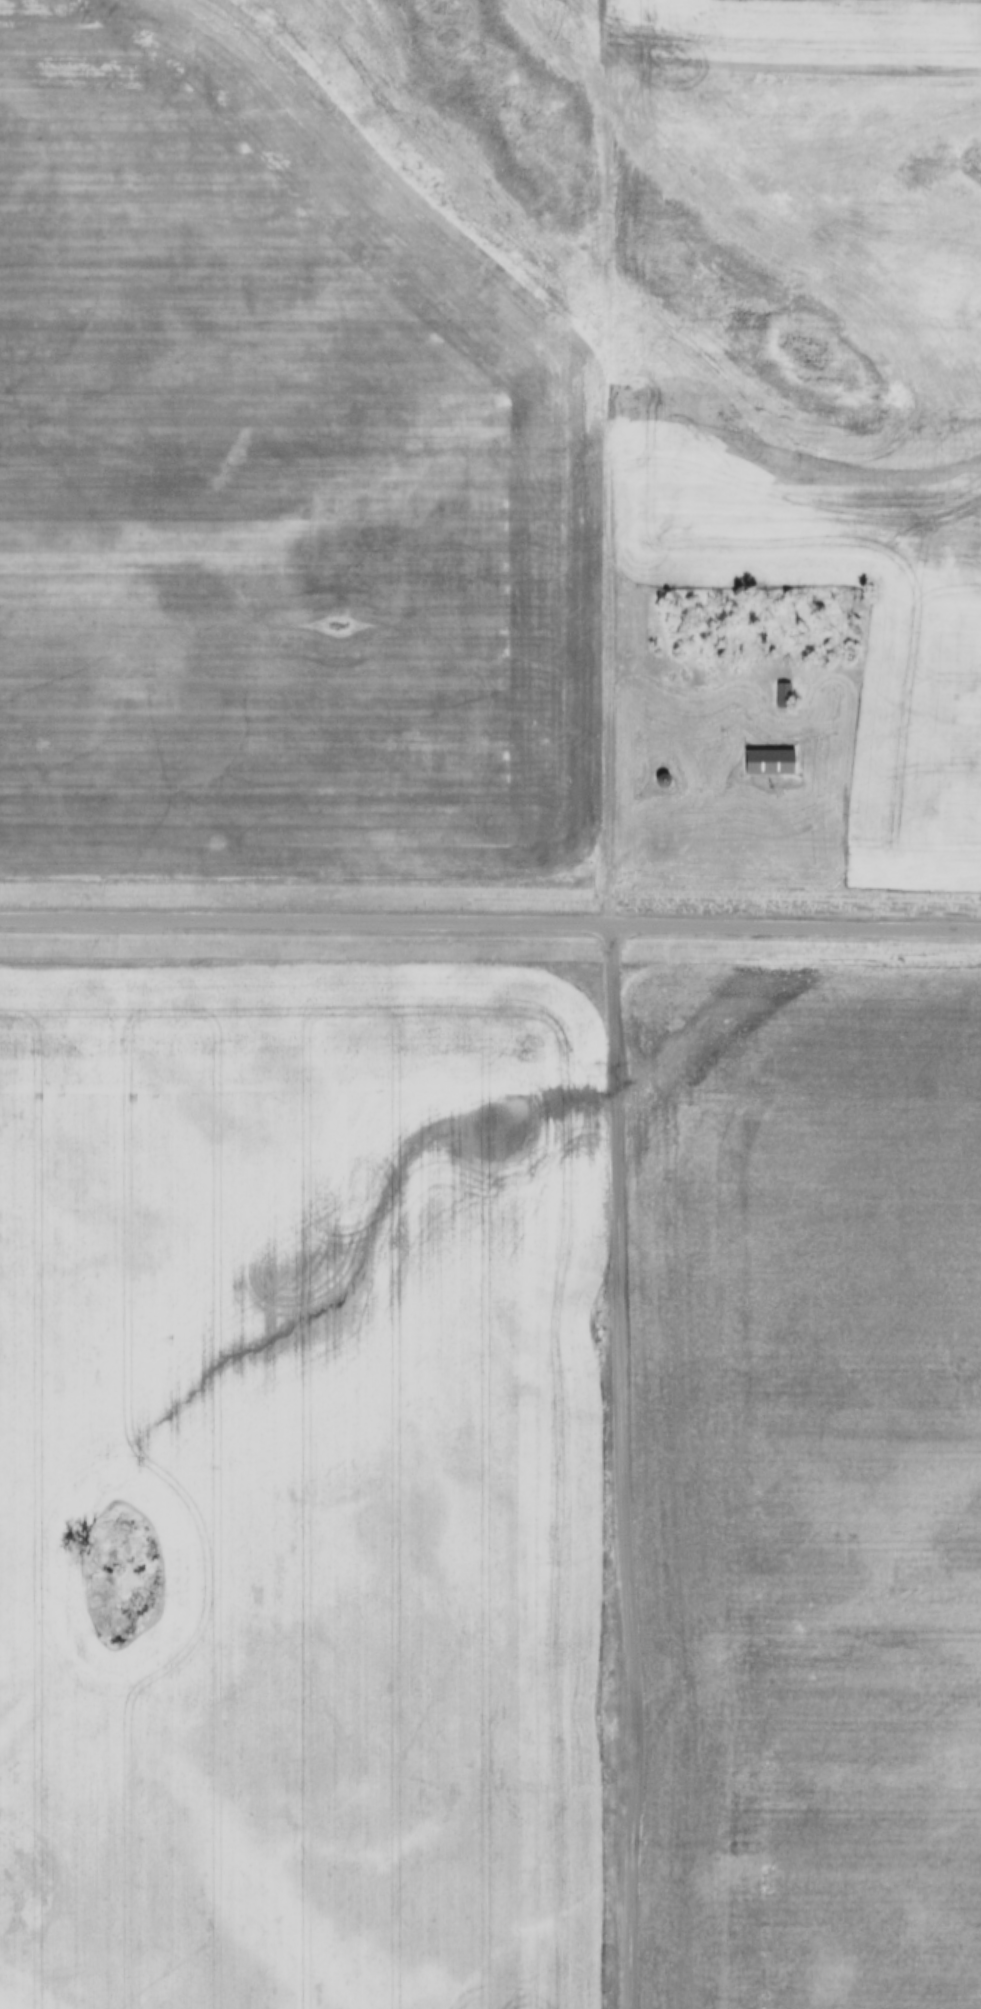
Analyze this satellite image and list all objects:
road: (608, 462)
building: (785, 697)
building: (773, 764)
building: (666, 783)
road: (490, 922)
road: (621, 1466)

